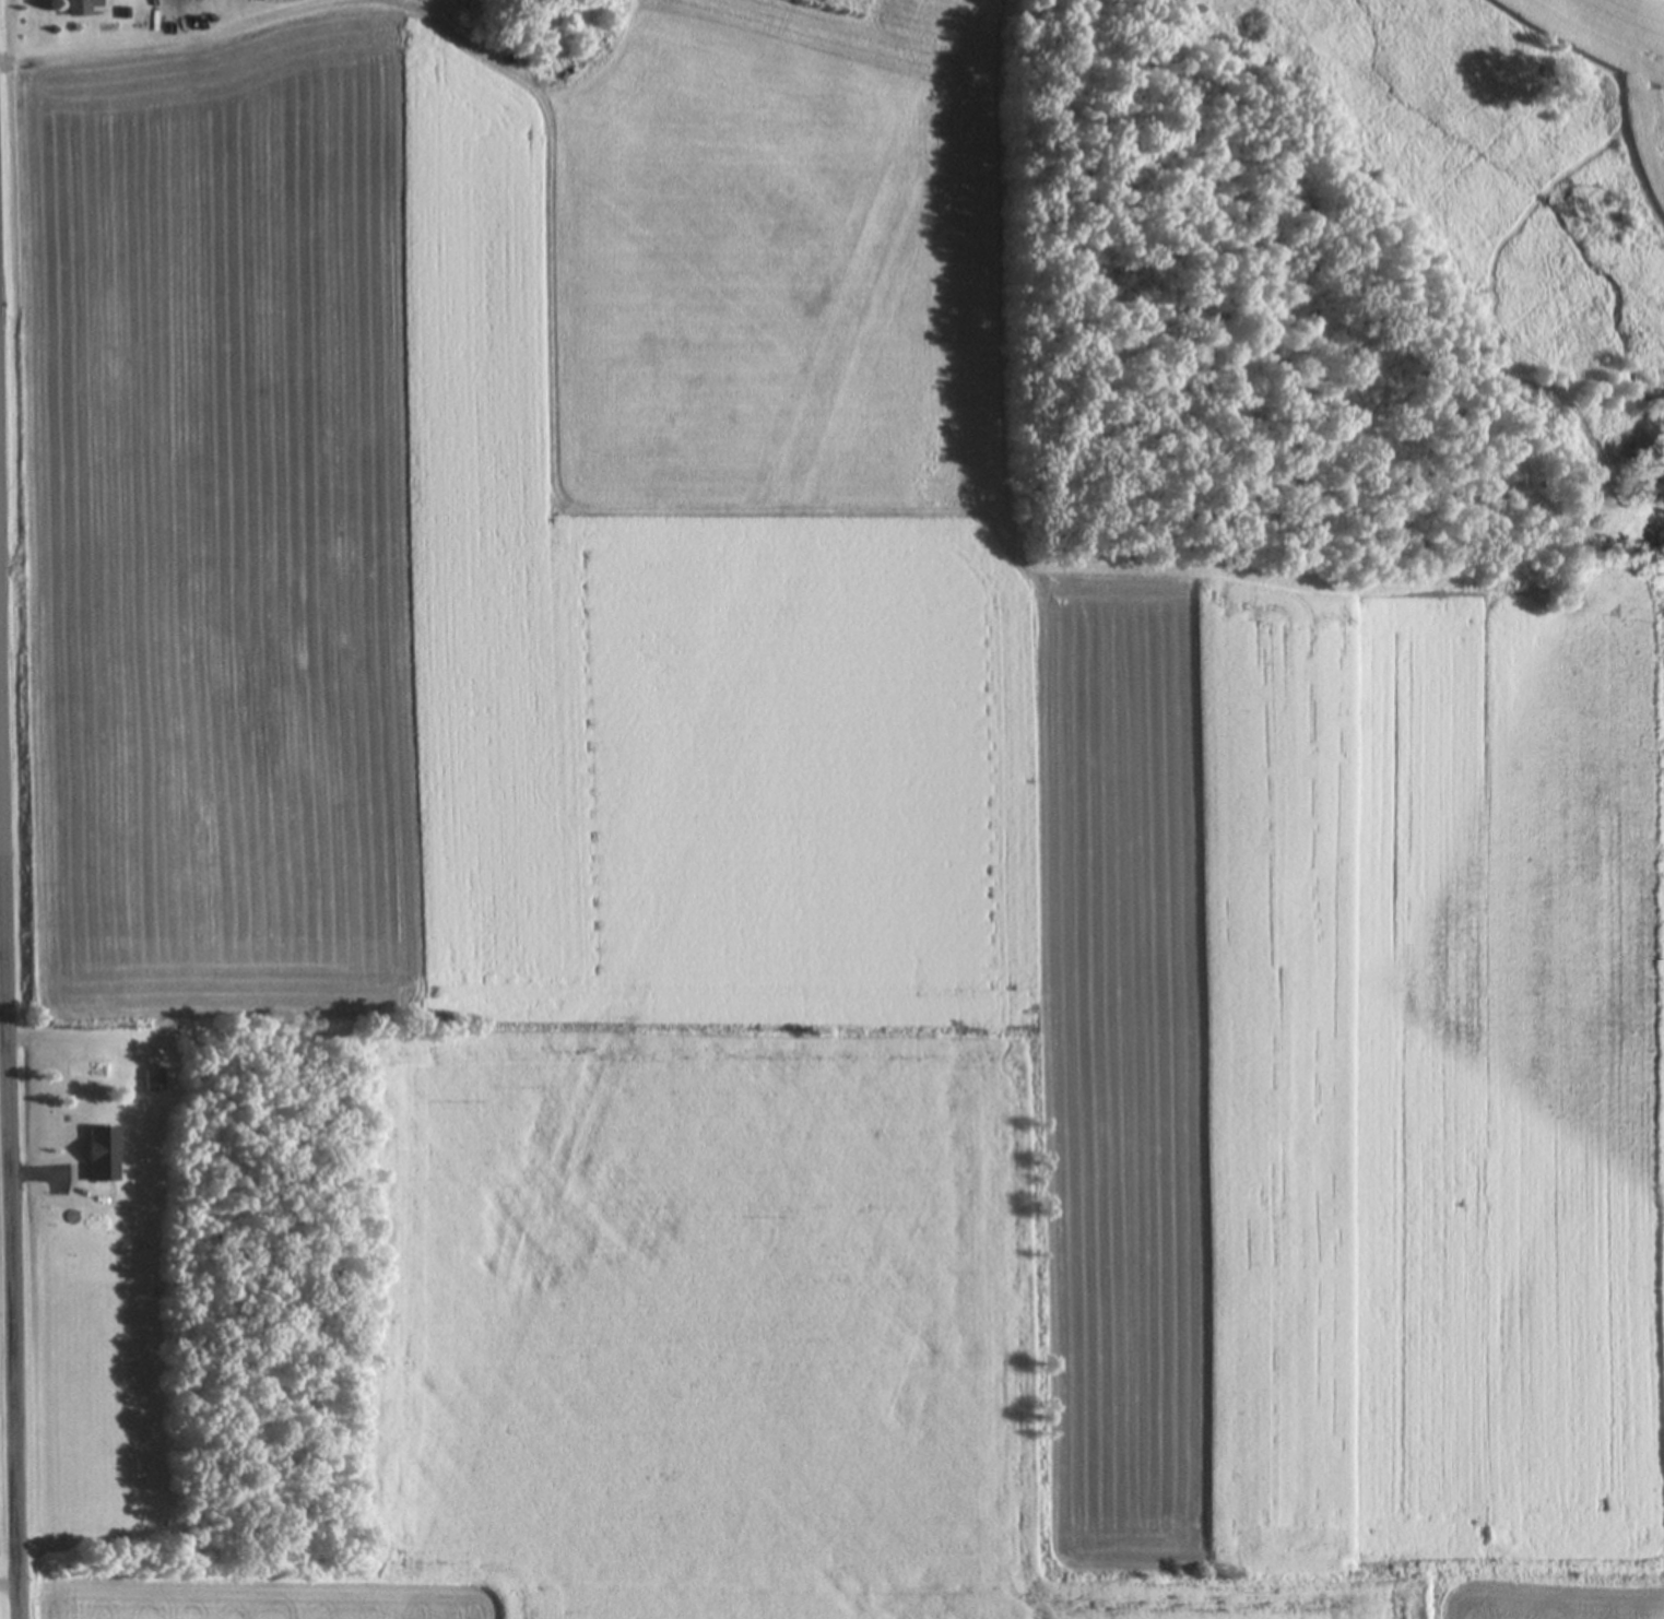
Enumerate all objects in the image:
building: (83, 8)
road: (0, 547)
road: (10, 1057)
building: (156, 1079)
building: (104, 1153)
road: (10, 1584)

